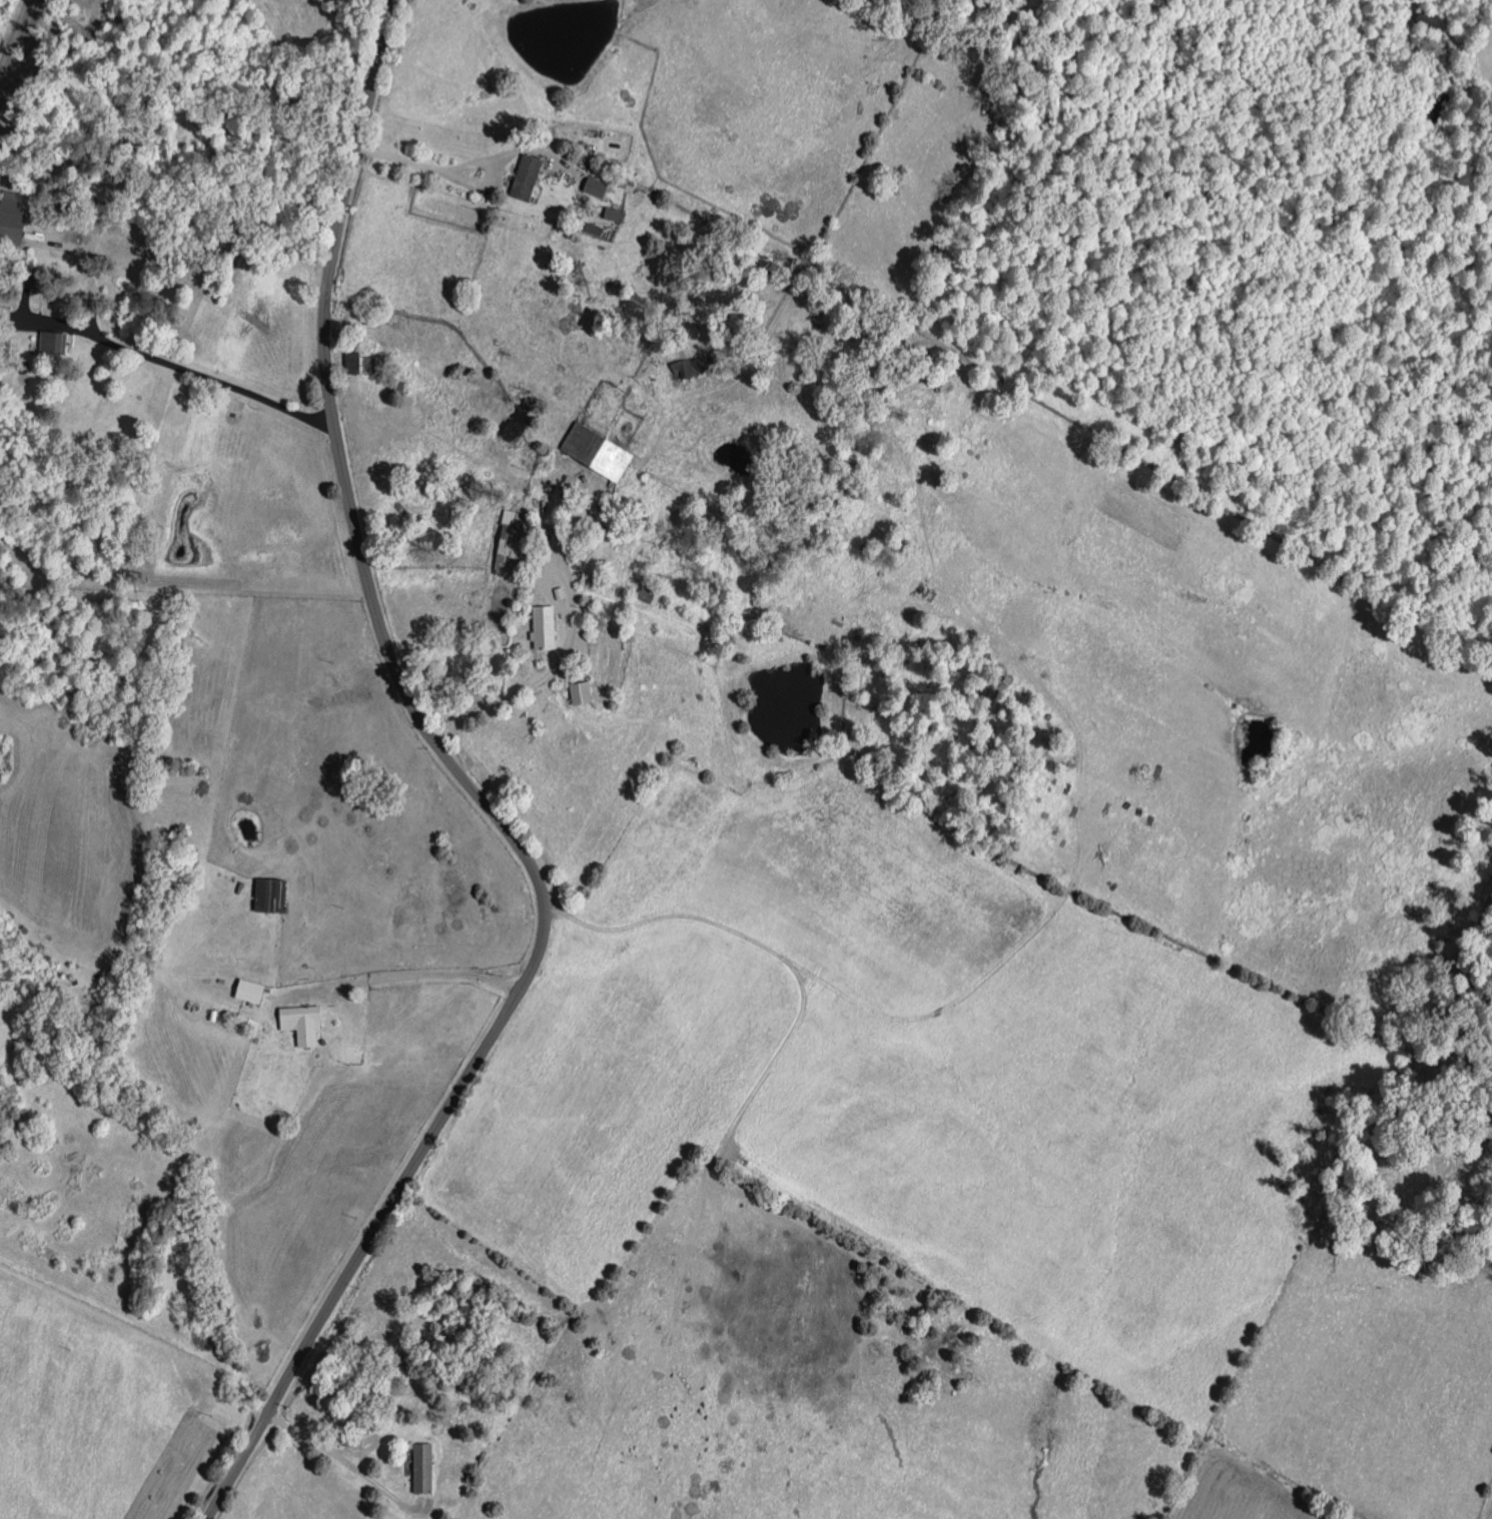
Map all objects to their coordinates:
building: (528, 177)
road: (457, 178)
building: (598, 187)
building: (616, 215)
building: (14, 216)
building: (55, 342)
building: (362, 364)
road: (203, 377)
building: (599, 452)
building: (514, 541)
building: (546, 628)
road: (571, 633)
road: (477, 794)
building: (273, 896)
road: (404, 980)
building: (253, 991)
building: (305, 1023)
road: (345, 1460)
building: (425, 1468)

